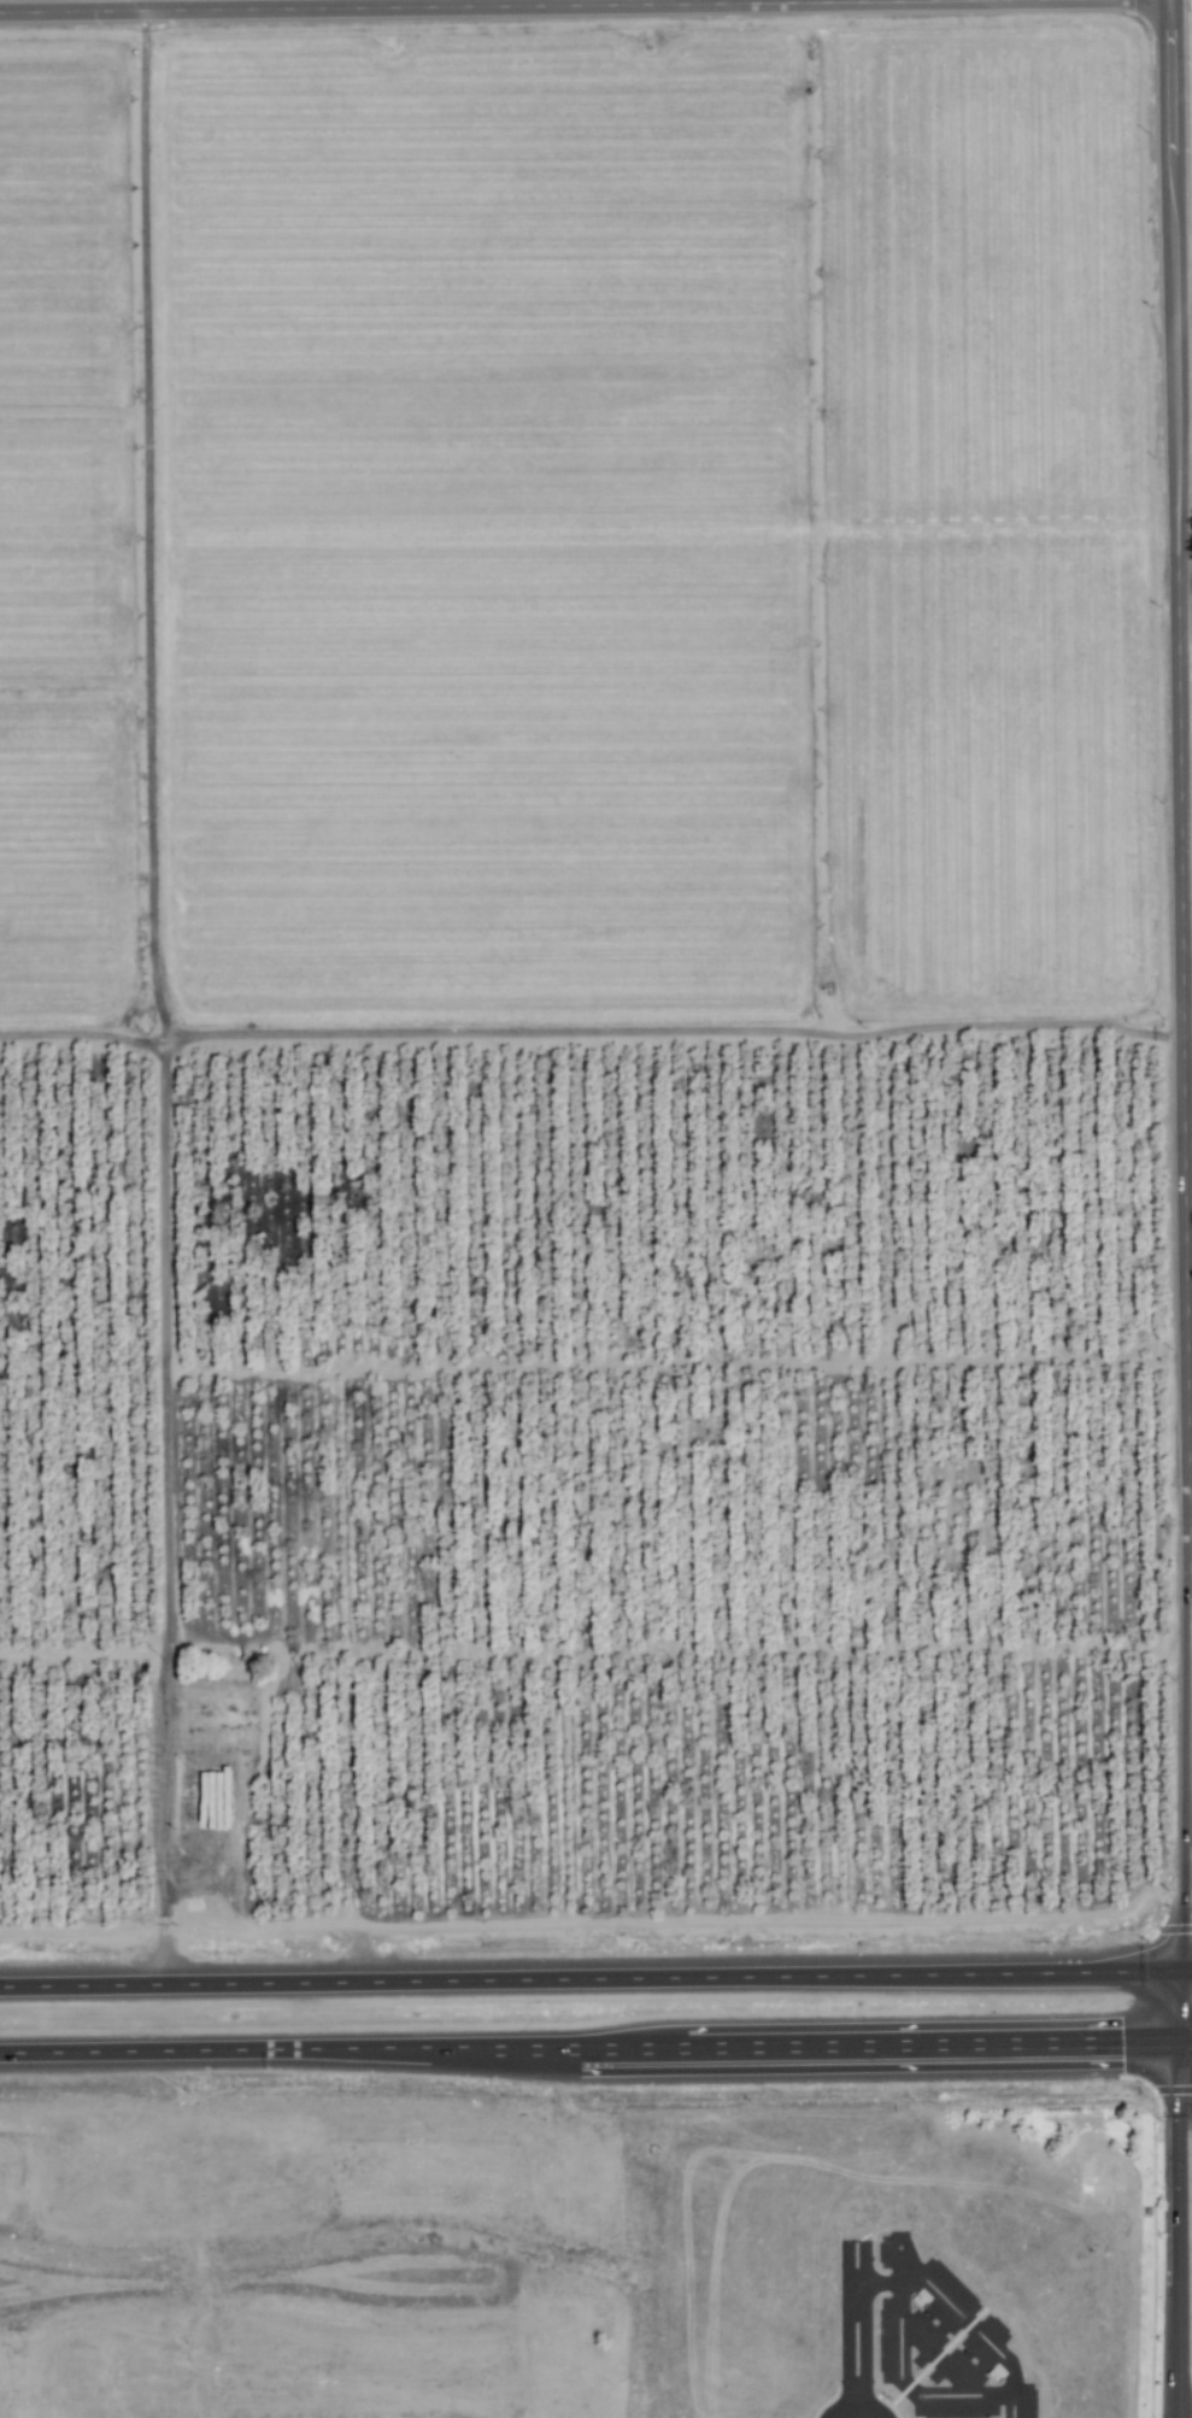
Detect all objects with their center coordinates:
road: (540, 6)
road: (1187, 577)
road: (1184, 627)
crop: (594, 972)
road: (1191, 1186)
road: (595, 1978)
road: (595, 2046)
crop: (323, 2260)
road: (956, 2311)
road: (864, 2352)
road: (845, 2353)
road: (856, 2404)

